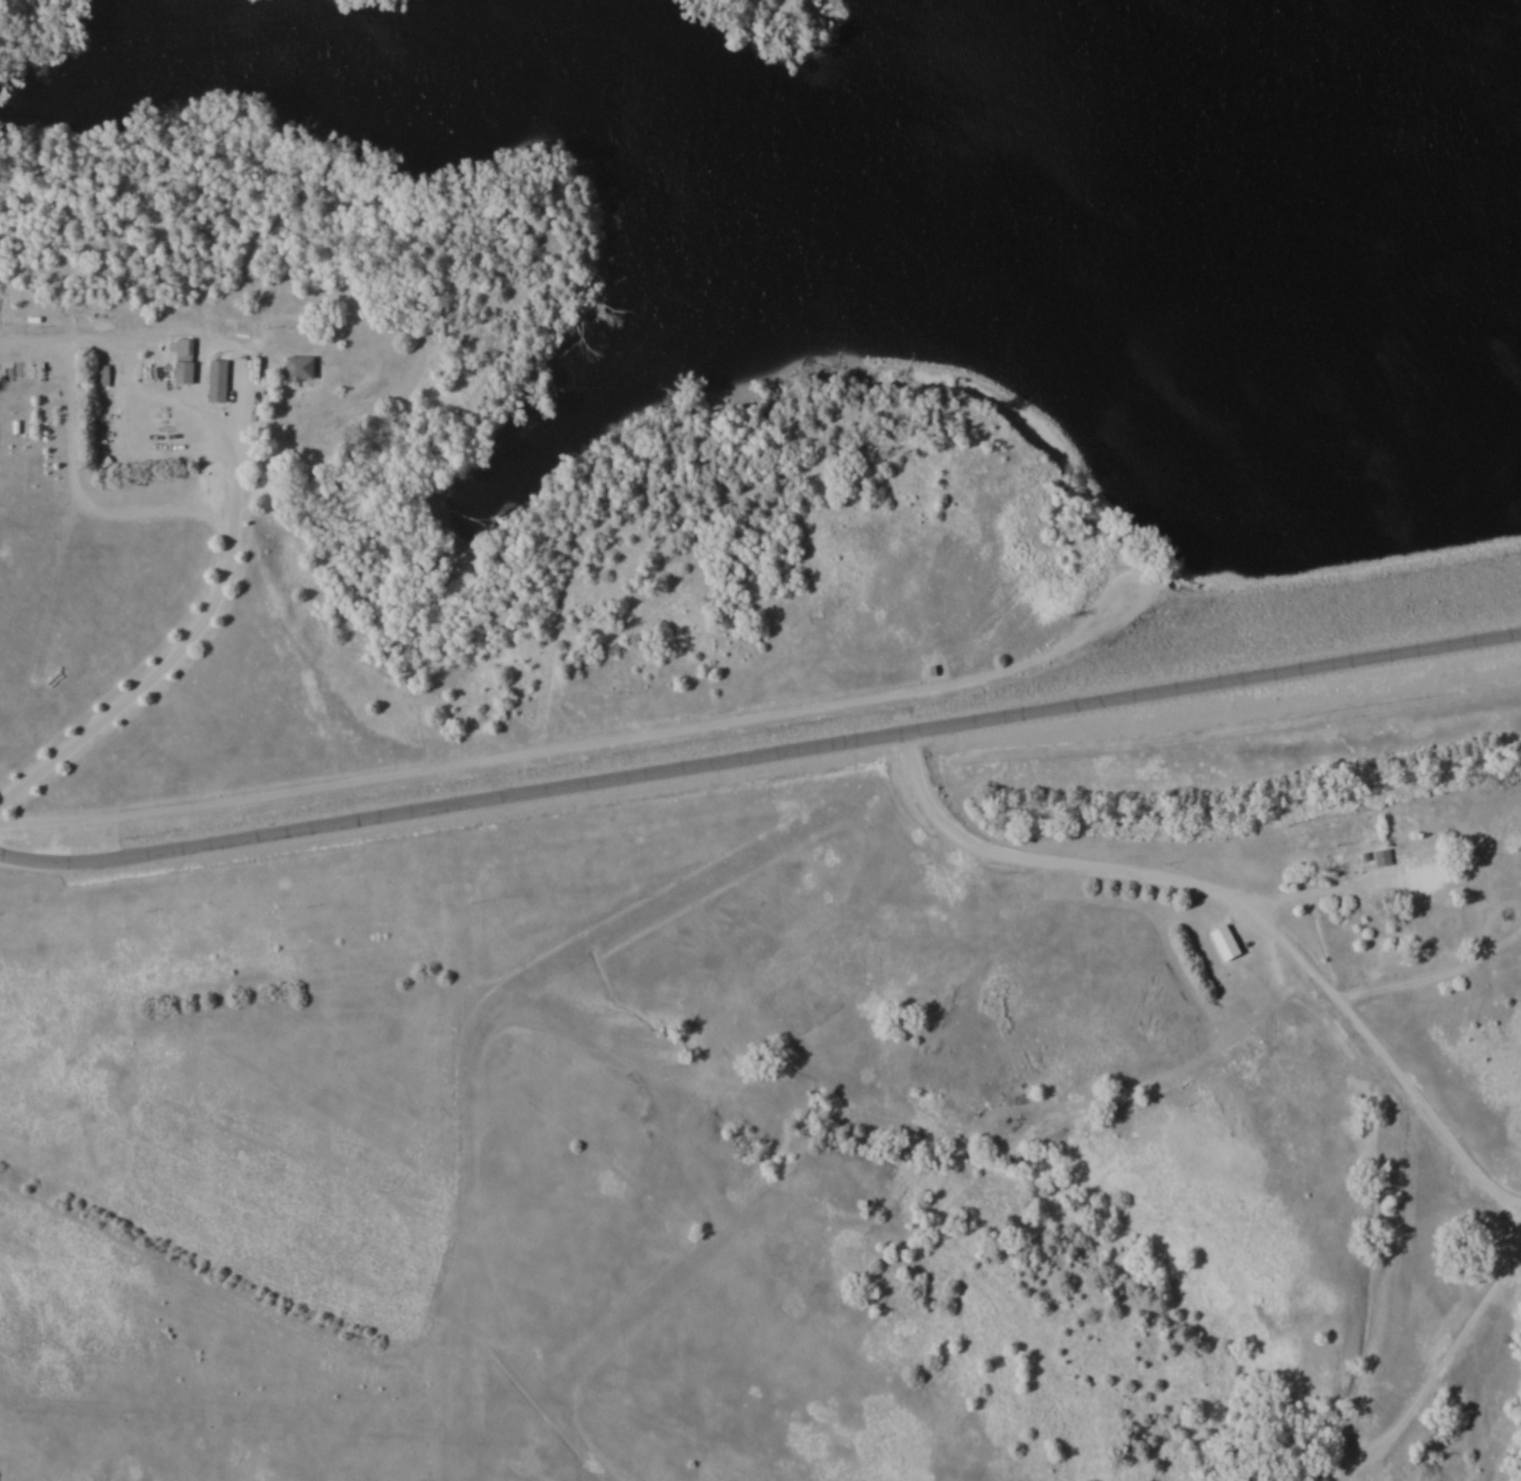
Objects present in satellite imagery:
building: (447, 25)
building: (183, 345)
building: (298, 366)
building: (182, 371)
building: (102, 375)
building: (216, 378)
dam: (1381, 555)
road: (194, 635)
park: (760, 740)
road: (820, 745)
road: (568, 751)
building: (1381, 857)
road: (59, 866)
building: (1424, 878)
road: (1298, 899)
road: (1238, 907)
building: (1224, 941)
road: (1440, 1363)

